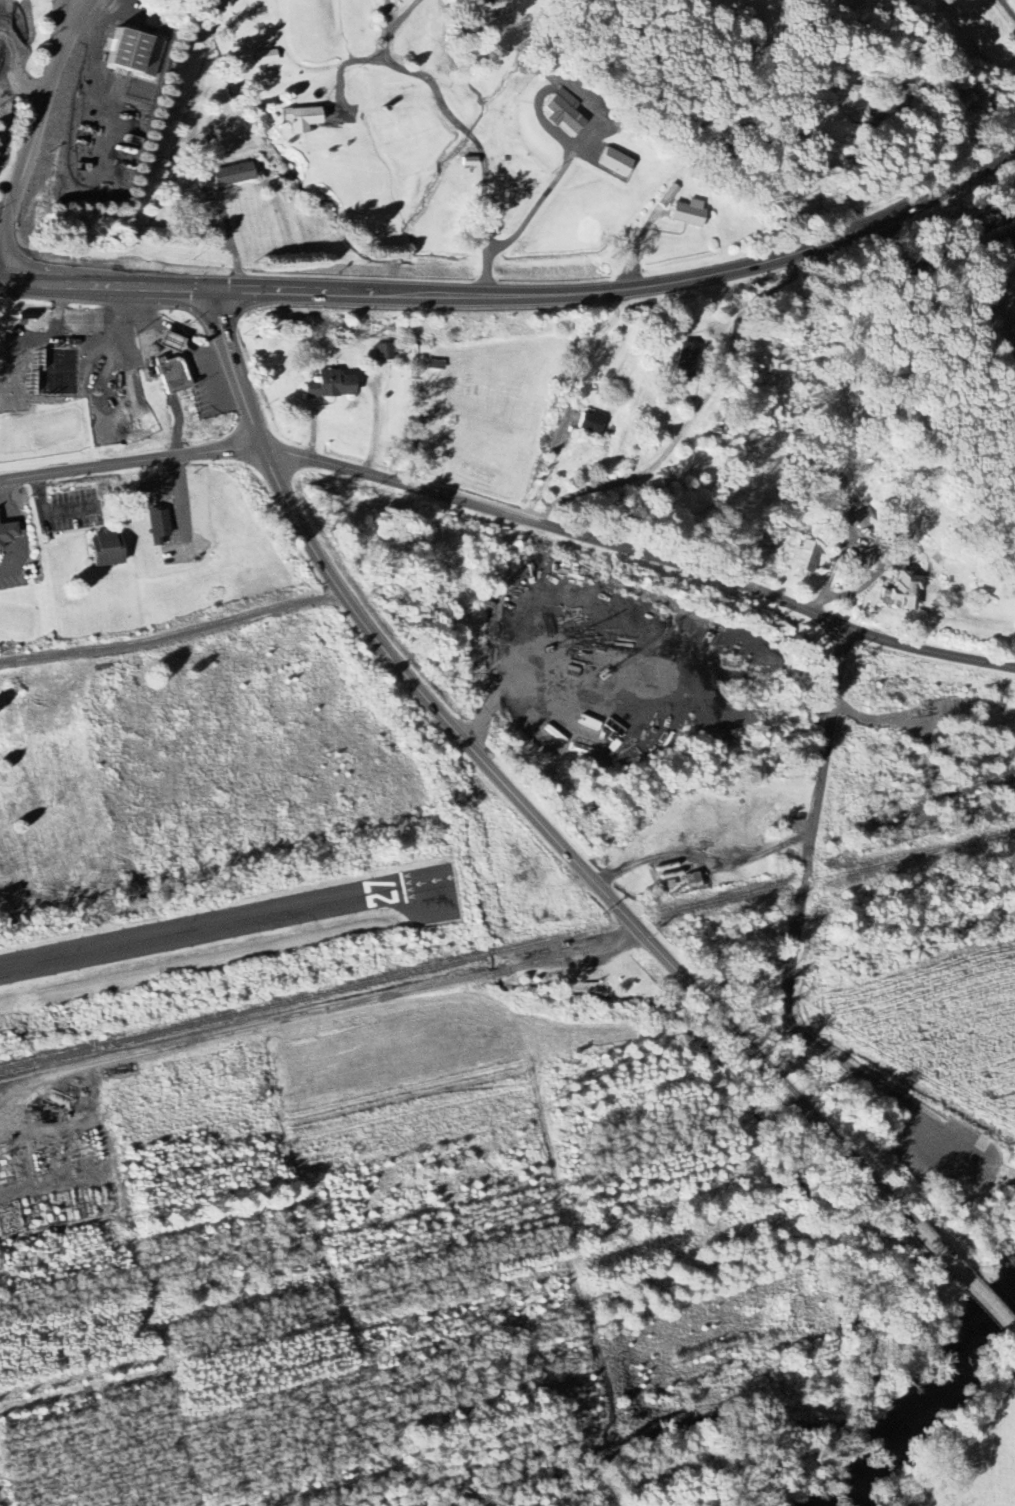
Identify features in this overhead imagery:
building: (133, 52)
building: (266, 57)
building: (851, 106)
quarry: (80, 113)
building: (565, 113)
building: (302, 118)
road: (36, 134)
building: (616, 164)
building: (234, 174)
building: (668, 195)
road: (486, 210)
building: (690, 213)
road: (232, 241)
traffic signals: (214, 287)
road: (521, 299)
building: (173, 342)
building: (385, 352)
building: (690, 359)
building: (174, 376)
building: (332, 386)
road: (575, 407)
building: (593, 423)
road: (161, 487)
road: (183, 497)
road: (50, 509)
road: (513, 516)
building: (865, 518)
building: (160, 526)
road: (21, 530)
building: (9, 534)
building: (107, 549)
building: (805, 557)
building: (869, 558)
building: (903, 588)
building: (590, 723)
road: (509, 791)
railway: (863, 838)
building: (694, 881)
airport runway: (223, 925)
road: (794, 937)
railway: (507, 948)
airport: (224, 951)
parking lot: (948, 1151)
road: (989, 1163)
road: (999, 1169)
road: (1007, 1169)
road: (1006, 1176)
parking lot: (962, 1194)
road: (965, 1278)
river: (925, 1393)

